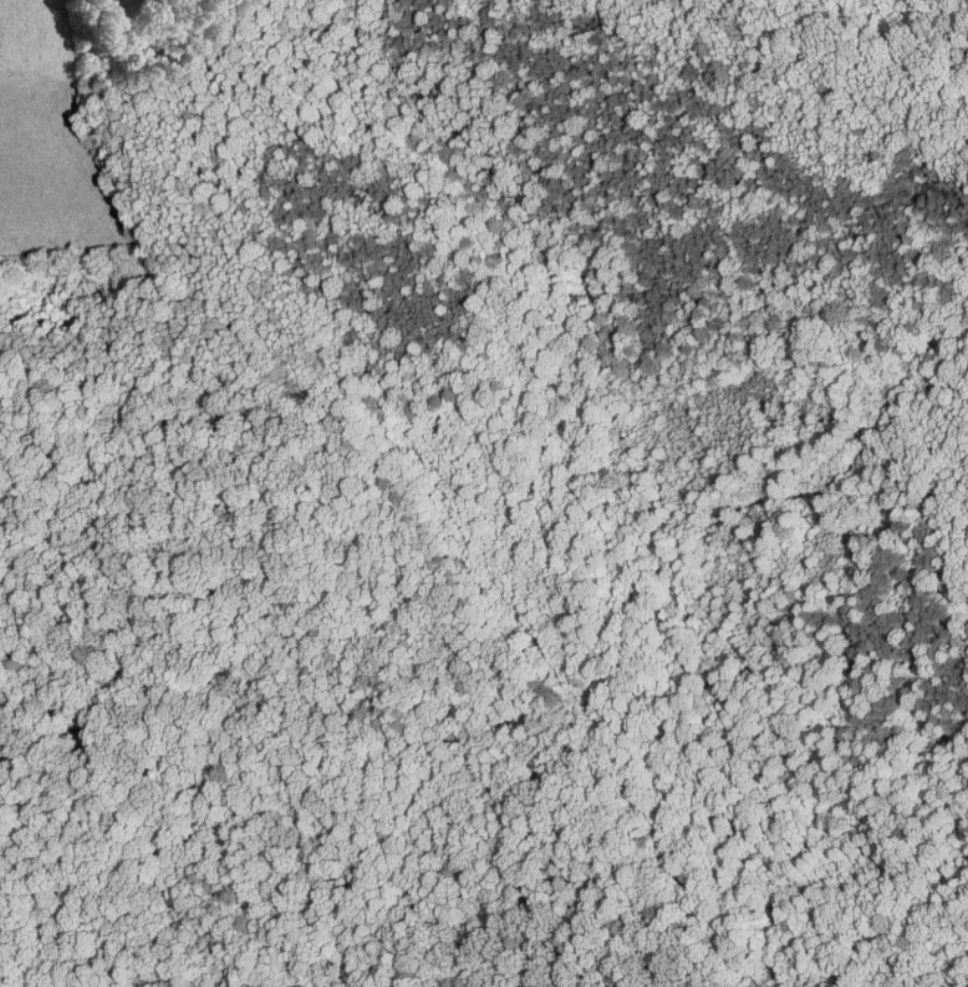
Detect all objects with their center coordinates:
road: (42, 746)

